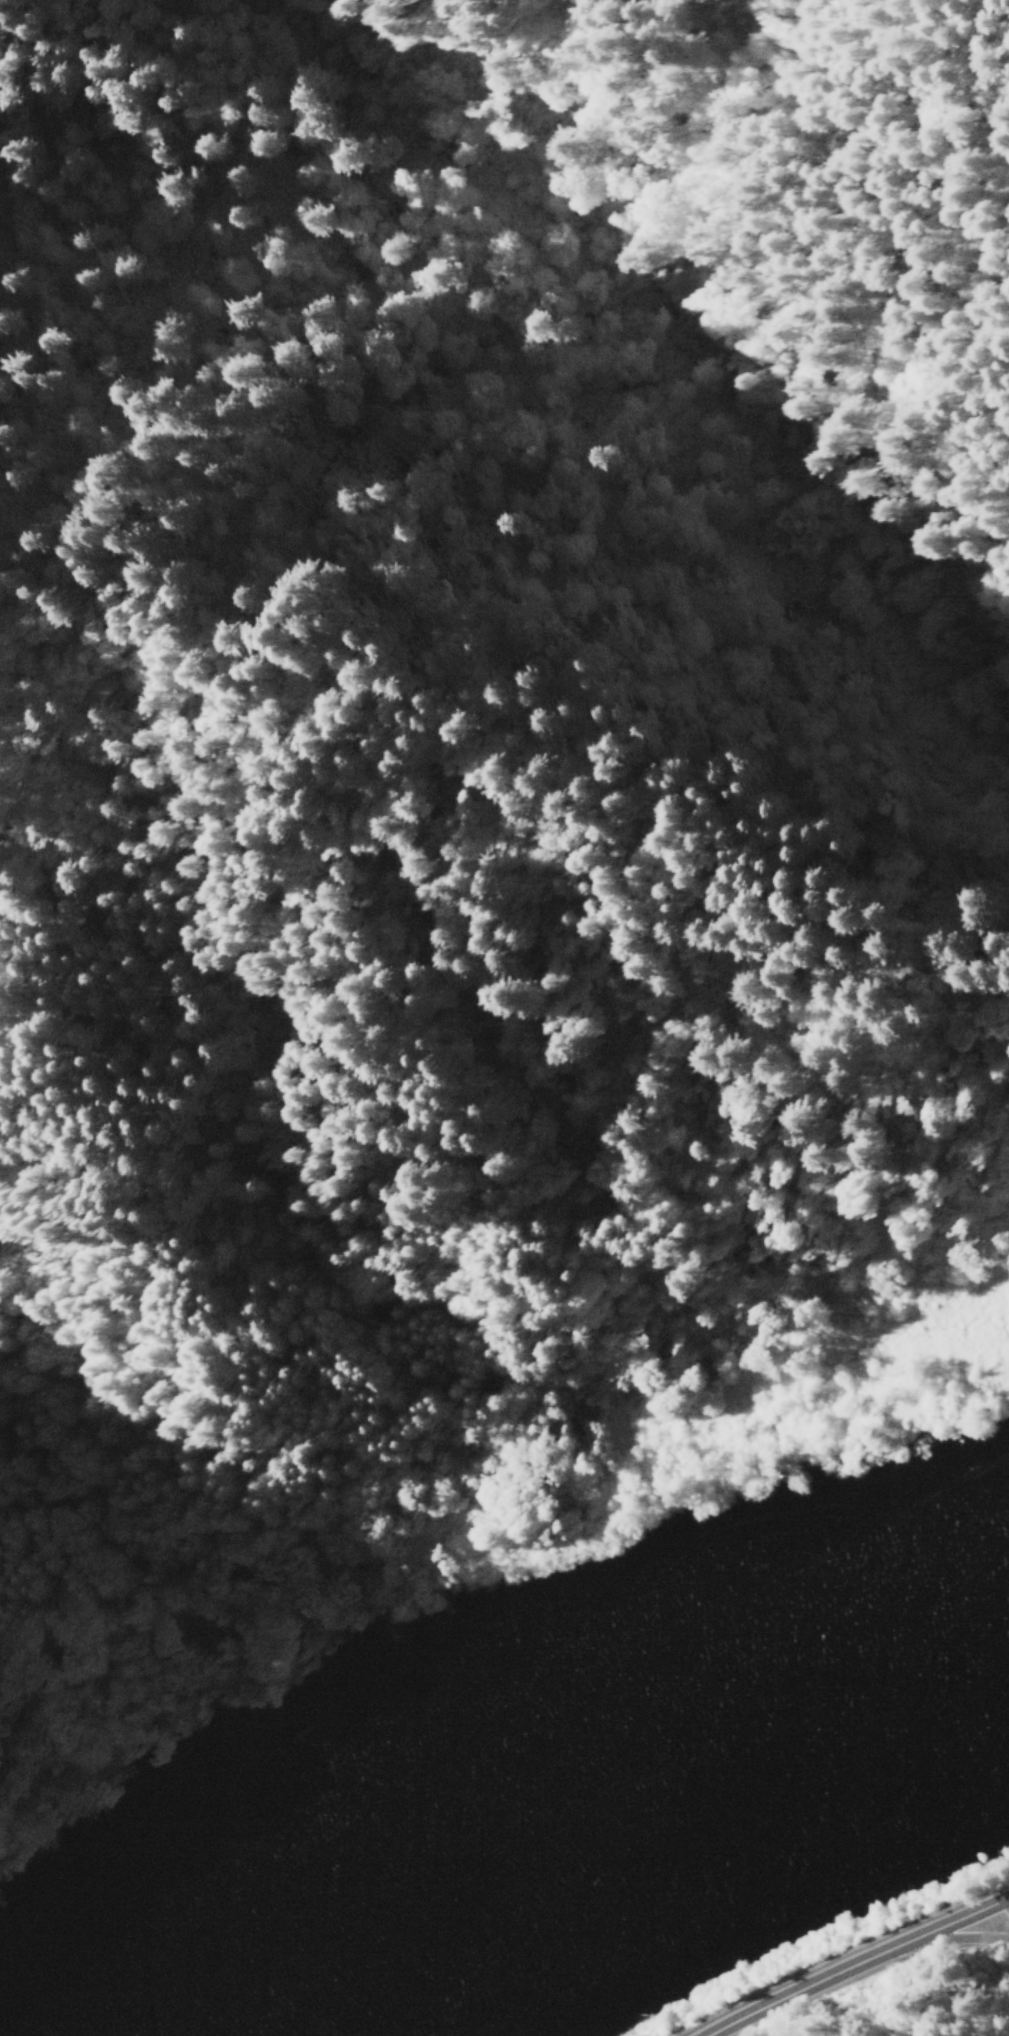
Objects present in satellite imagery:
river: (622, 1805)
road: (854, 1957)

